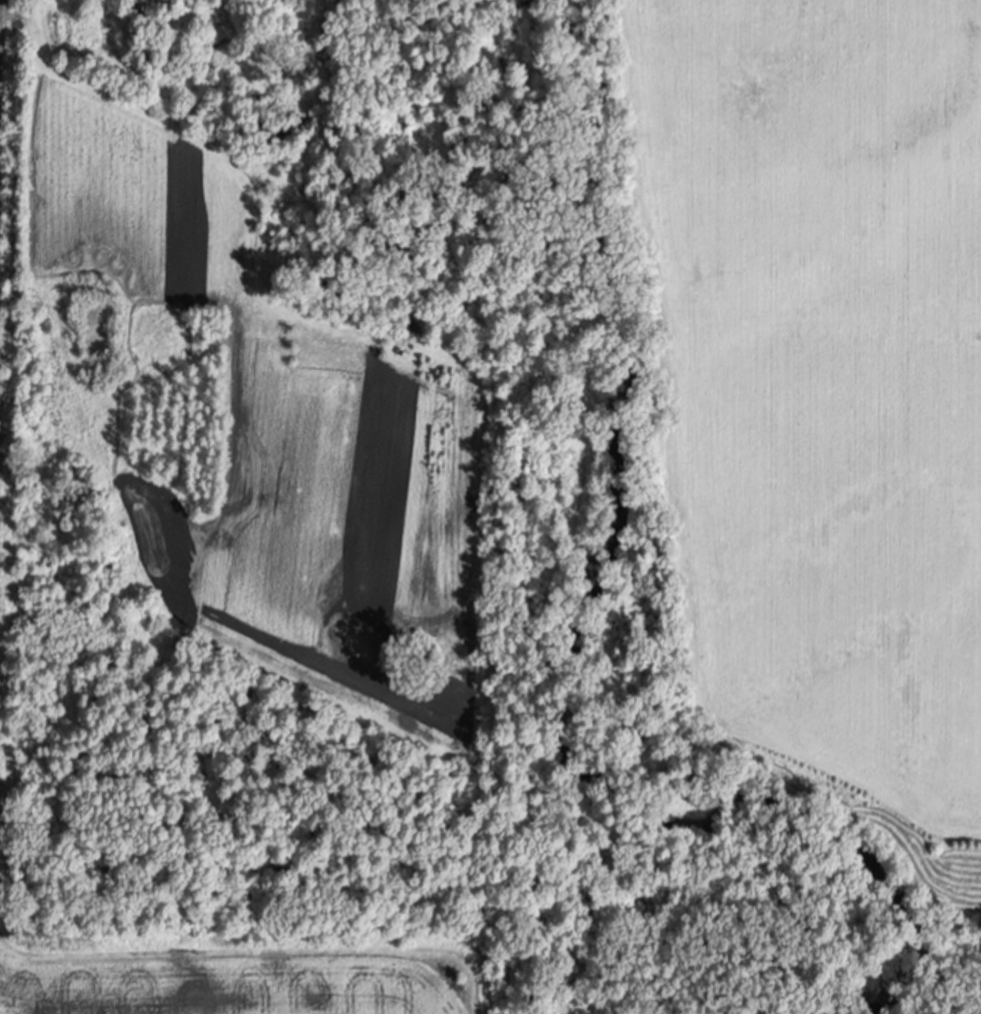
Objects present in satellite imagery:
crop: (820, 367)
crop: (217, 986)

